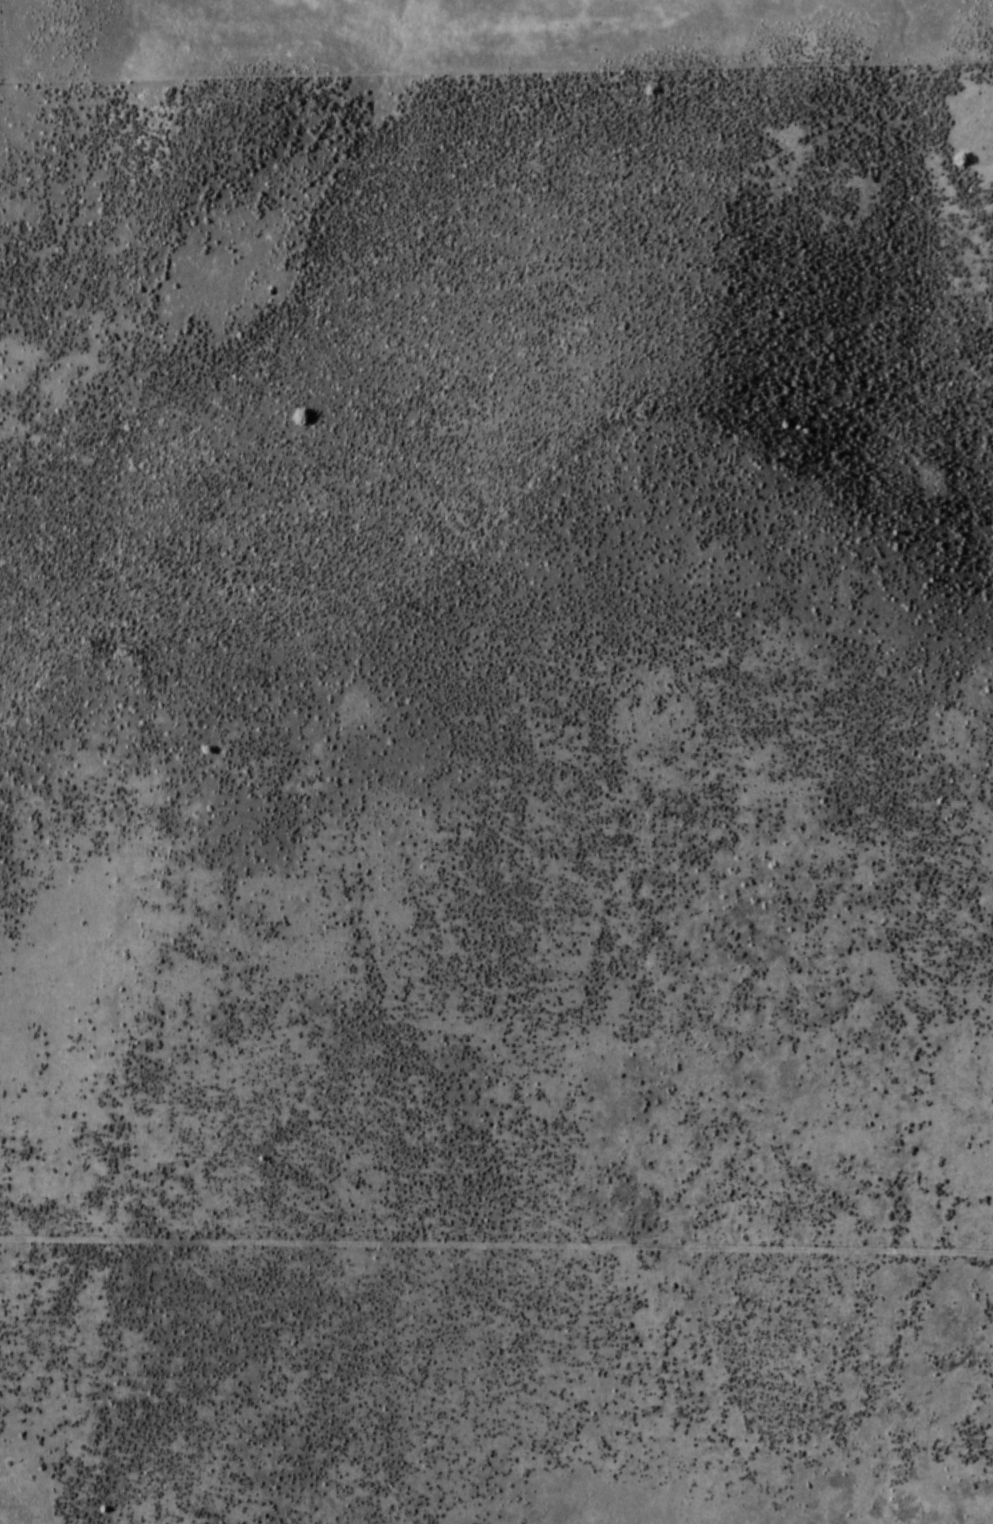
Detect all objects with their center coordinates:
road: (496, 1246)

